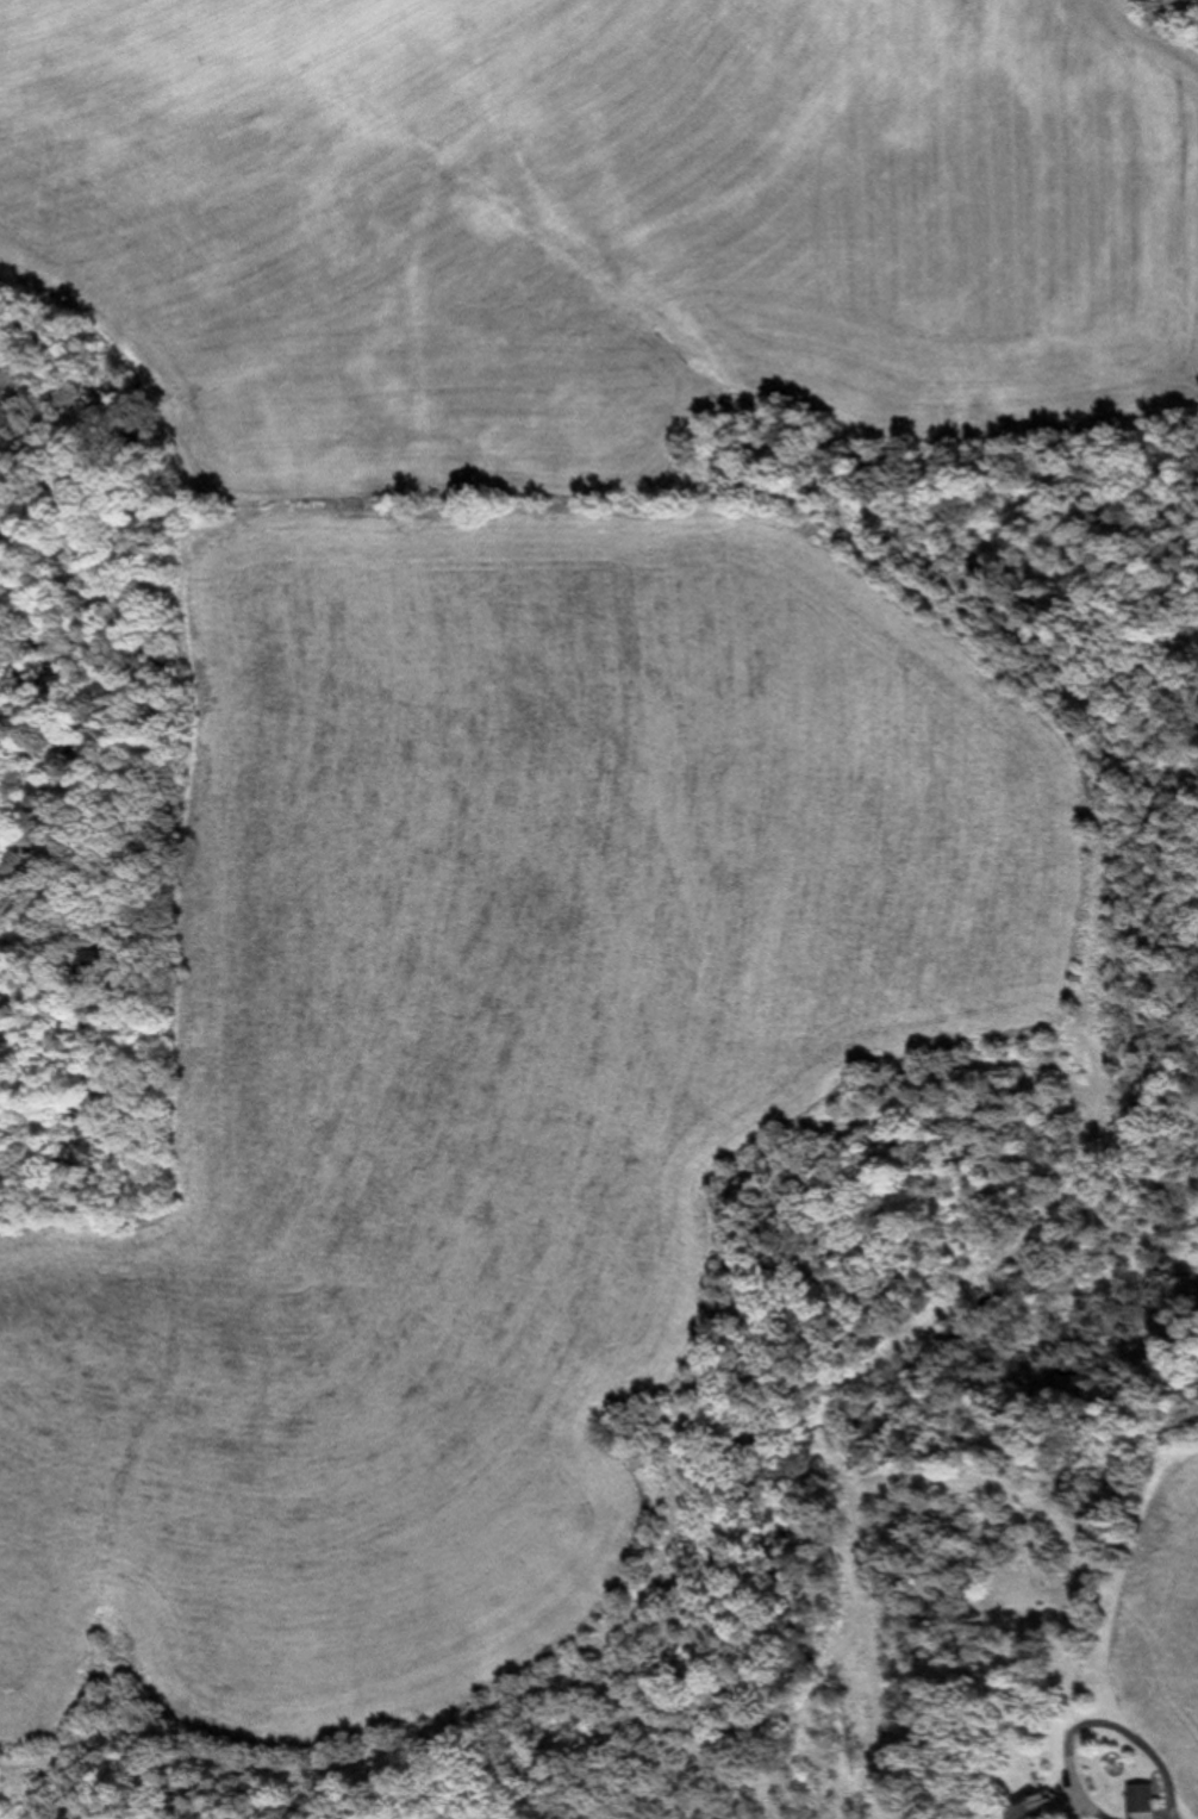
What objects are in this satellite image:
building: (1142, 1800)

